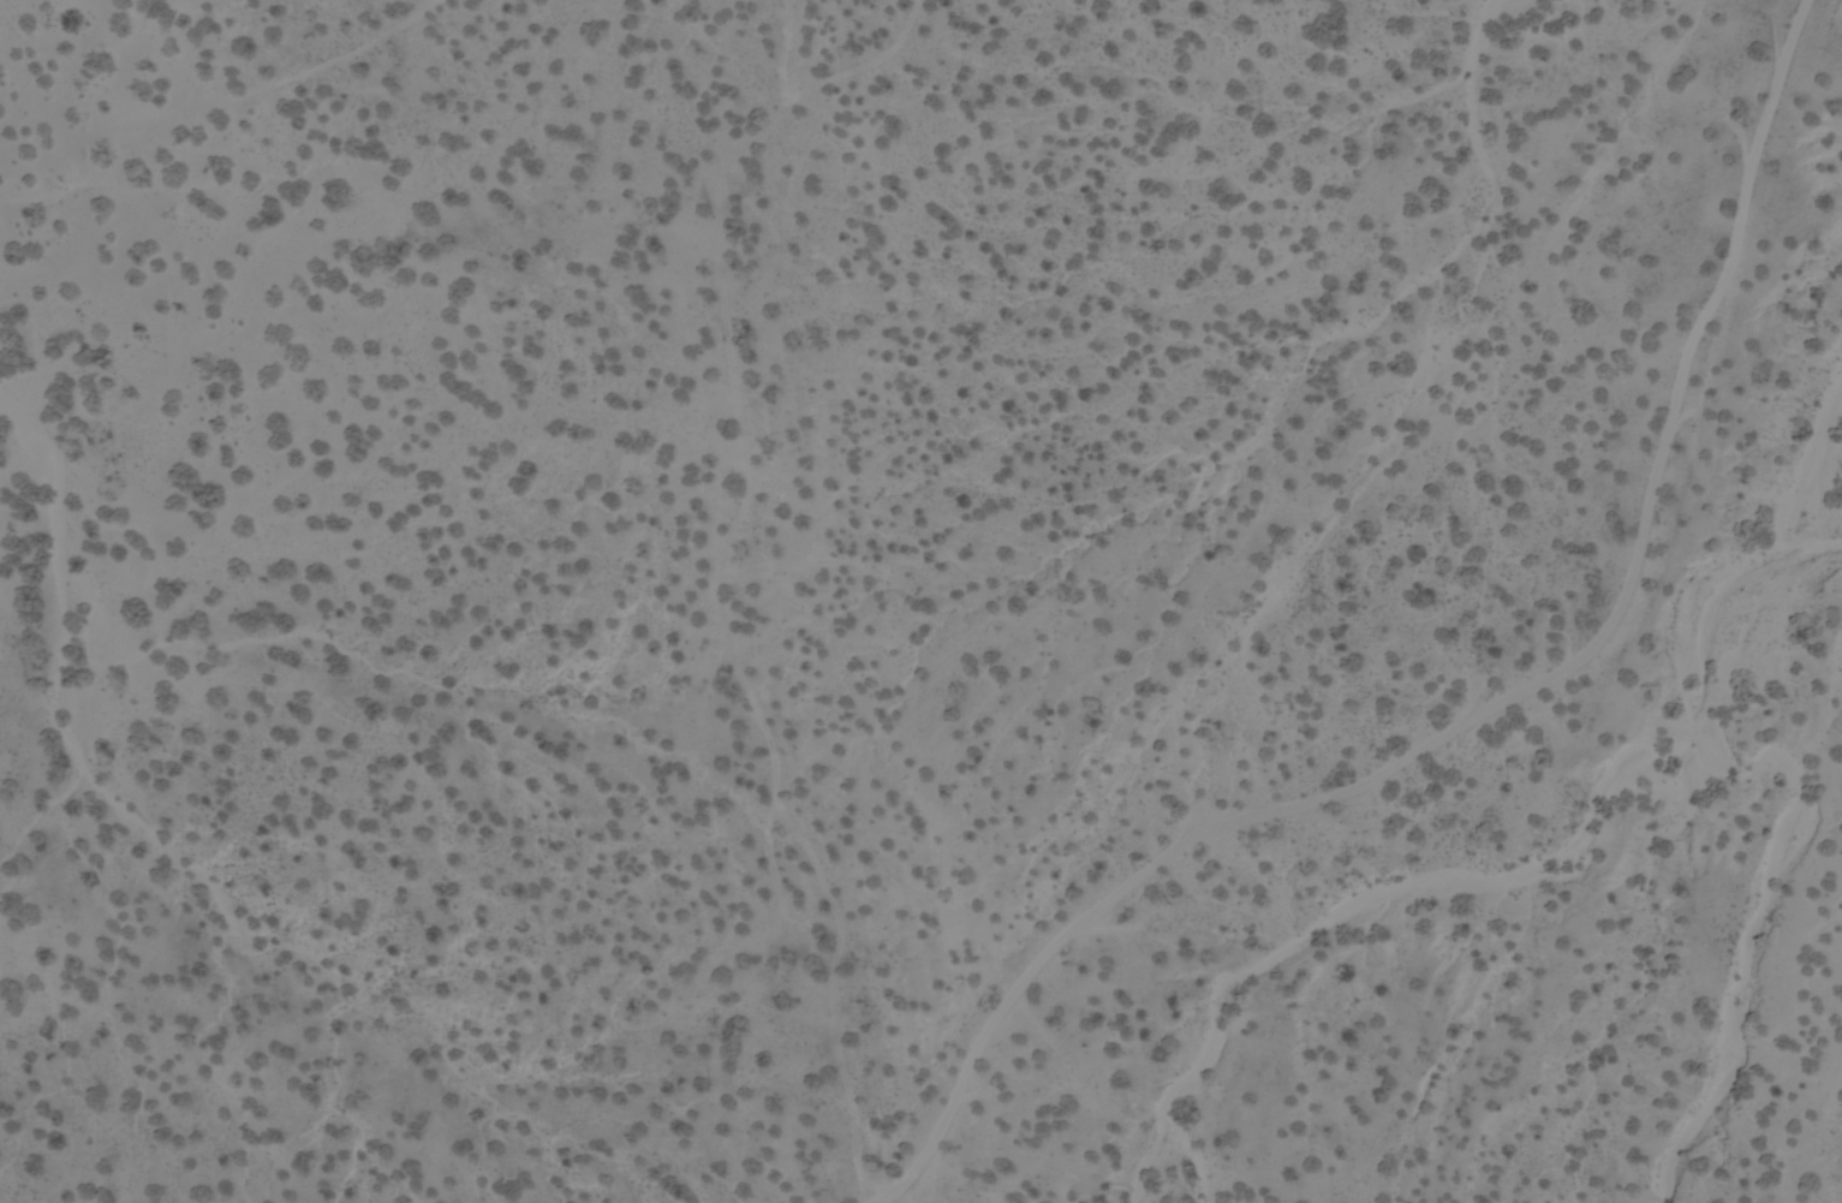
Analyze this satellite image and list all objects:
road: (1478, 713)

